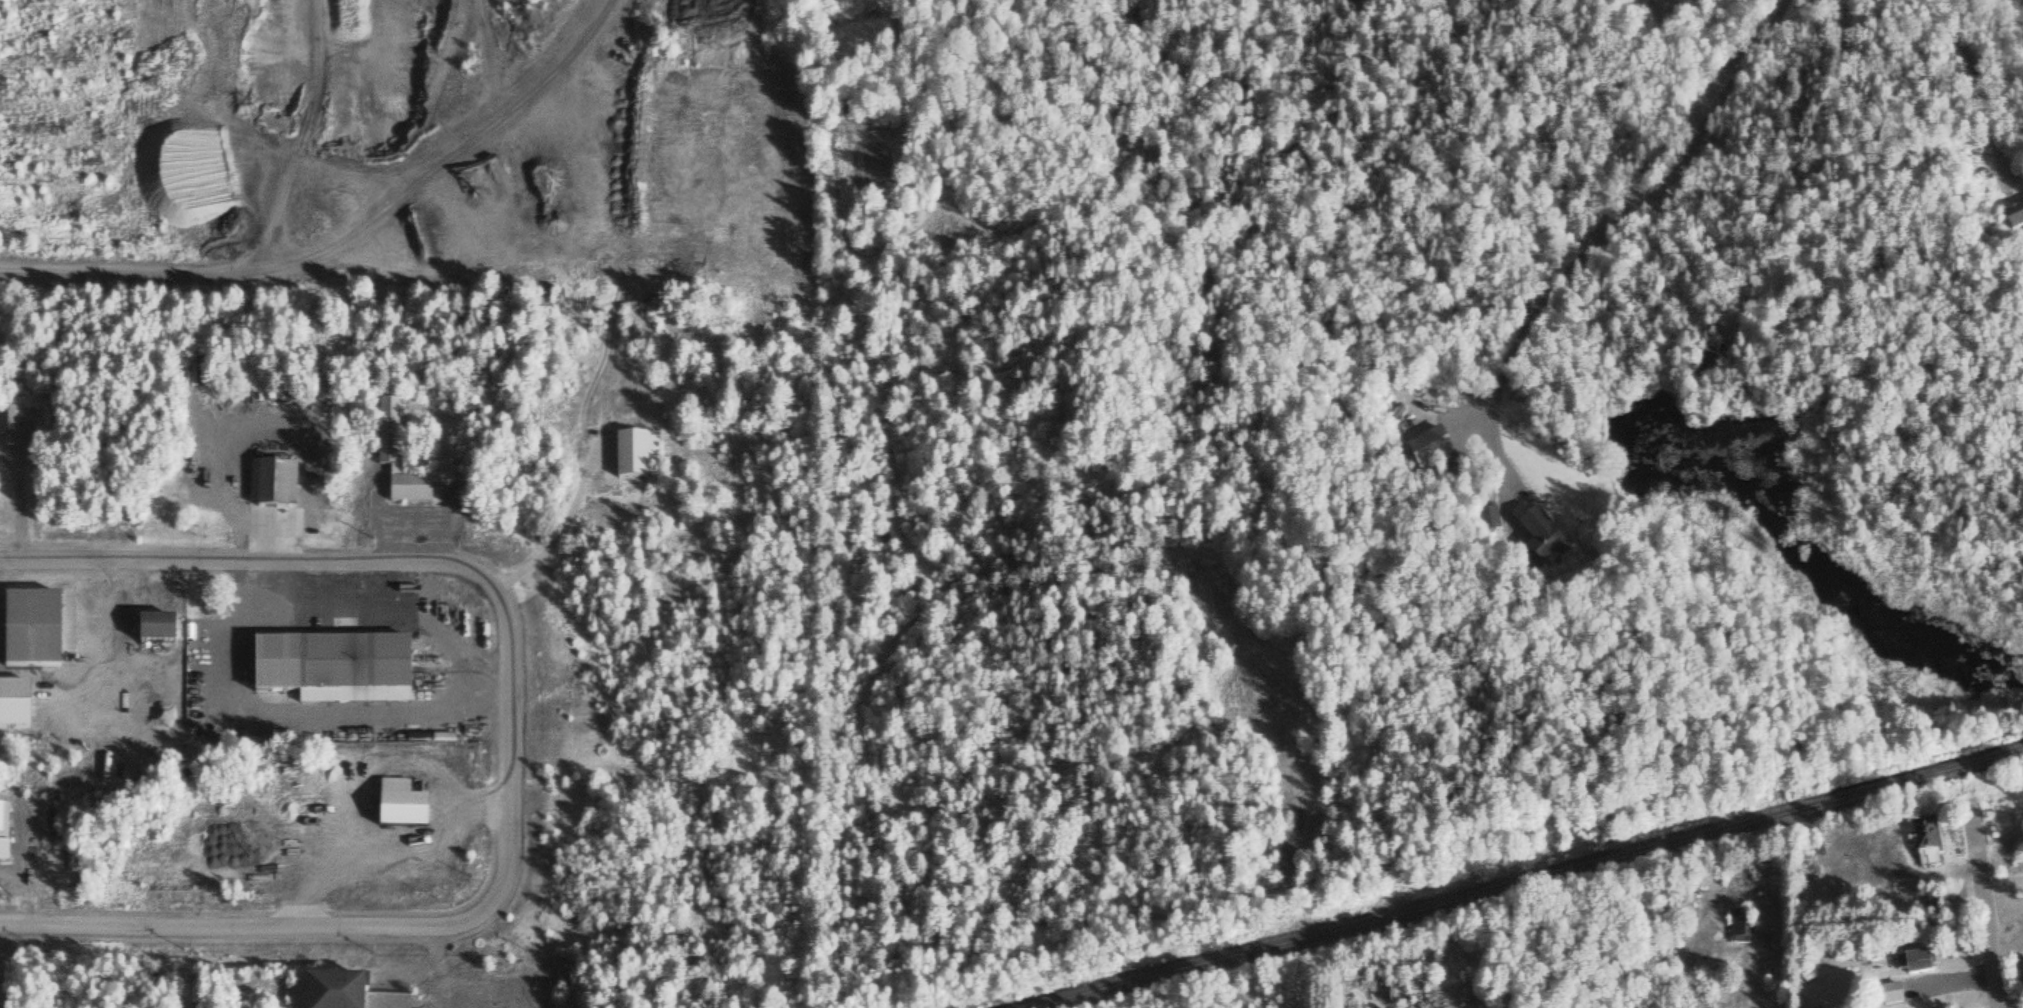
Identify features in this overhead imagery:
road: (2012, 8)
building: (2013, 219)
road: (1622, 240)
building: (200, 373)
building: (5, 423)
building: (637, 457)
building: (400, 460)
building: (275, 487)
building: (1554, 549)
building: (37, 632)
building: (164, 632)
building: (327, 658)
building: (19, 706)
building: (249, 739)
road: (508, 742)
building: (408, 808)
building: (6, 834)
building: (1920, 839)
railway: (1528, 880)
road: (1984, 908)
building: (1736, 929)
building: (1911, 965)
road: (1732, 974)
building: (342, 993)

